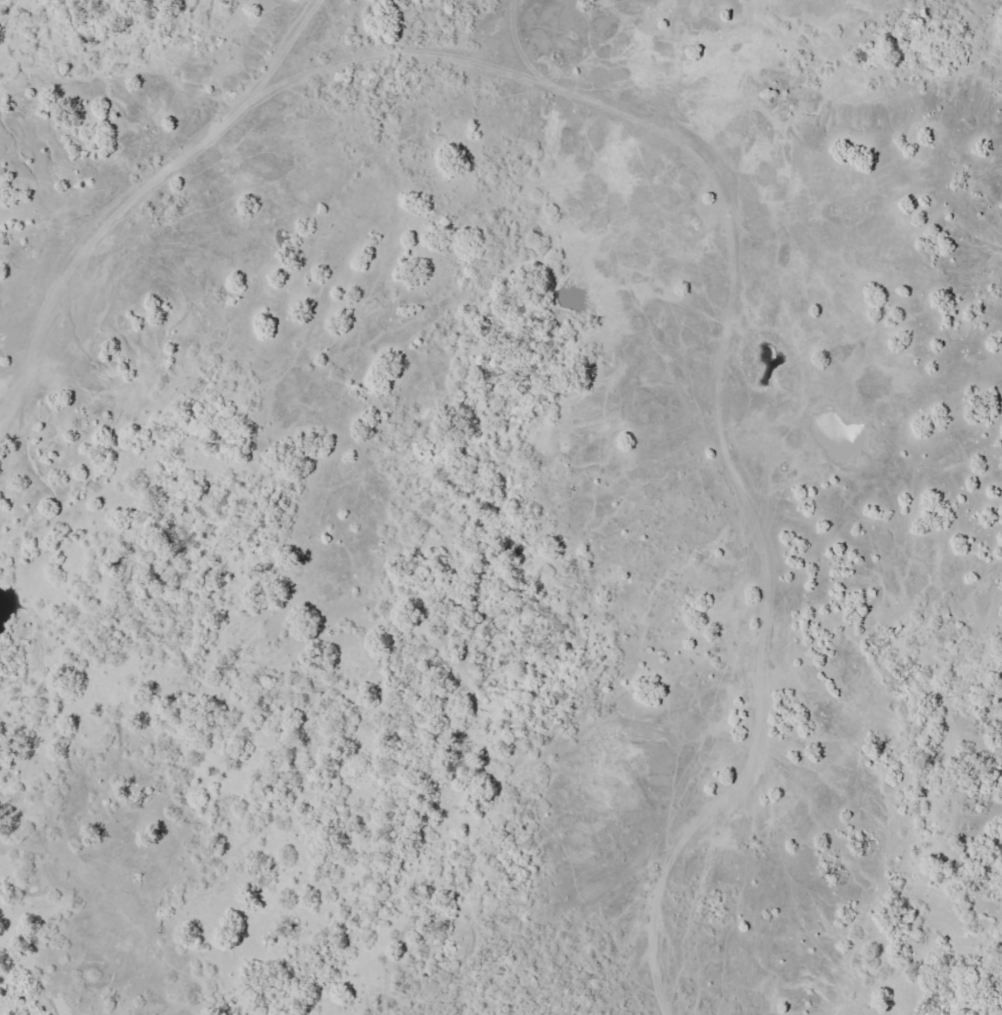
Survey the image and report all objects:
road: (122, 203)

